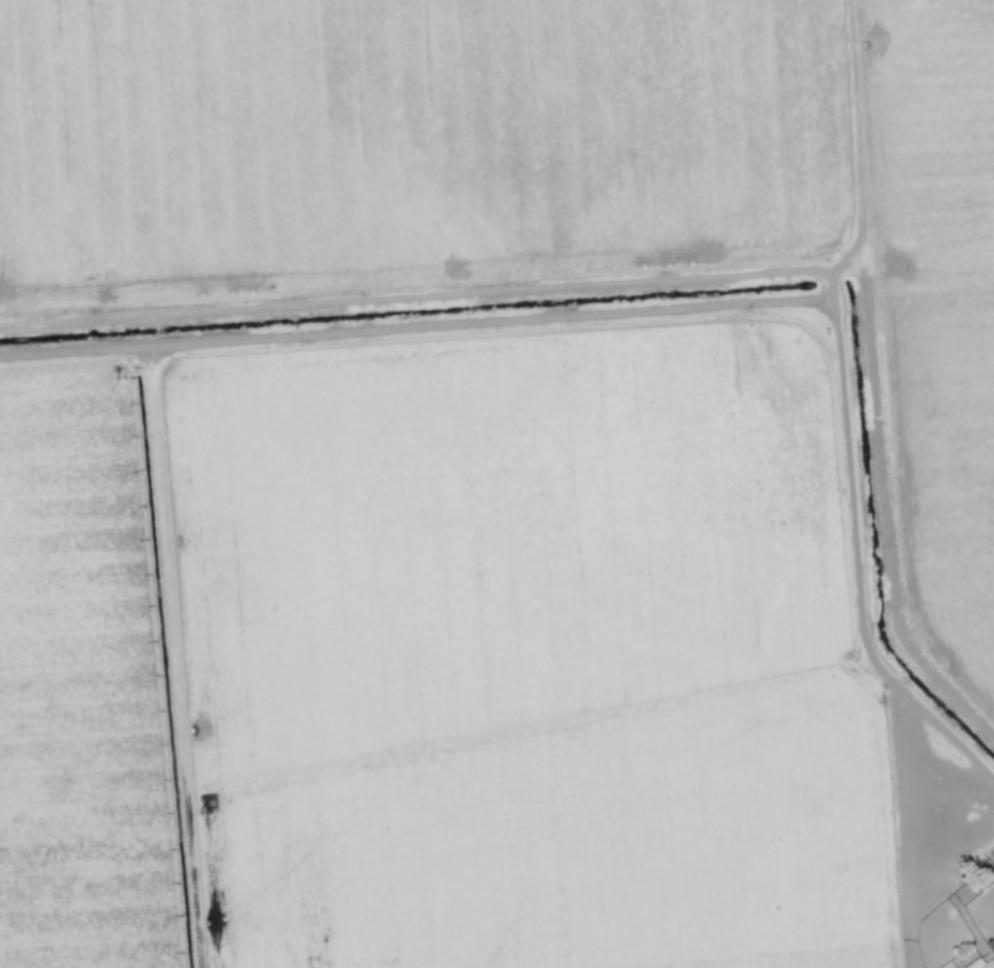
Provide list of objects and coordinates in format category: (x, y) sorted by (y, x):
building: (978, 964)

